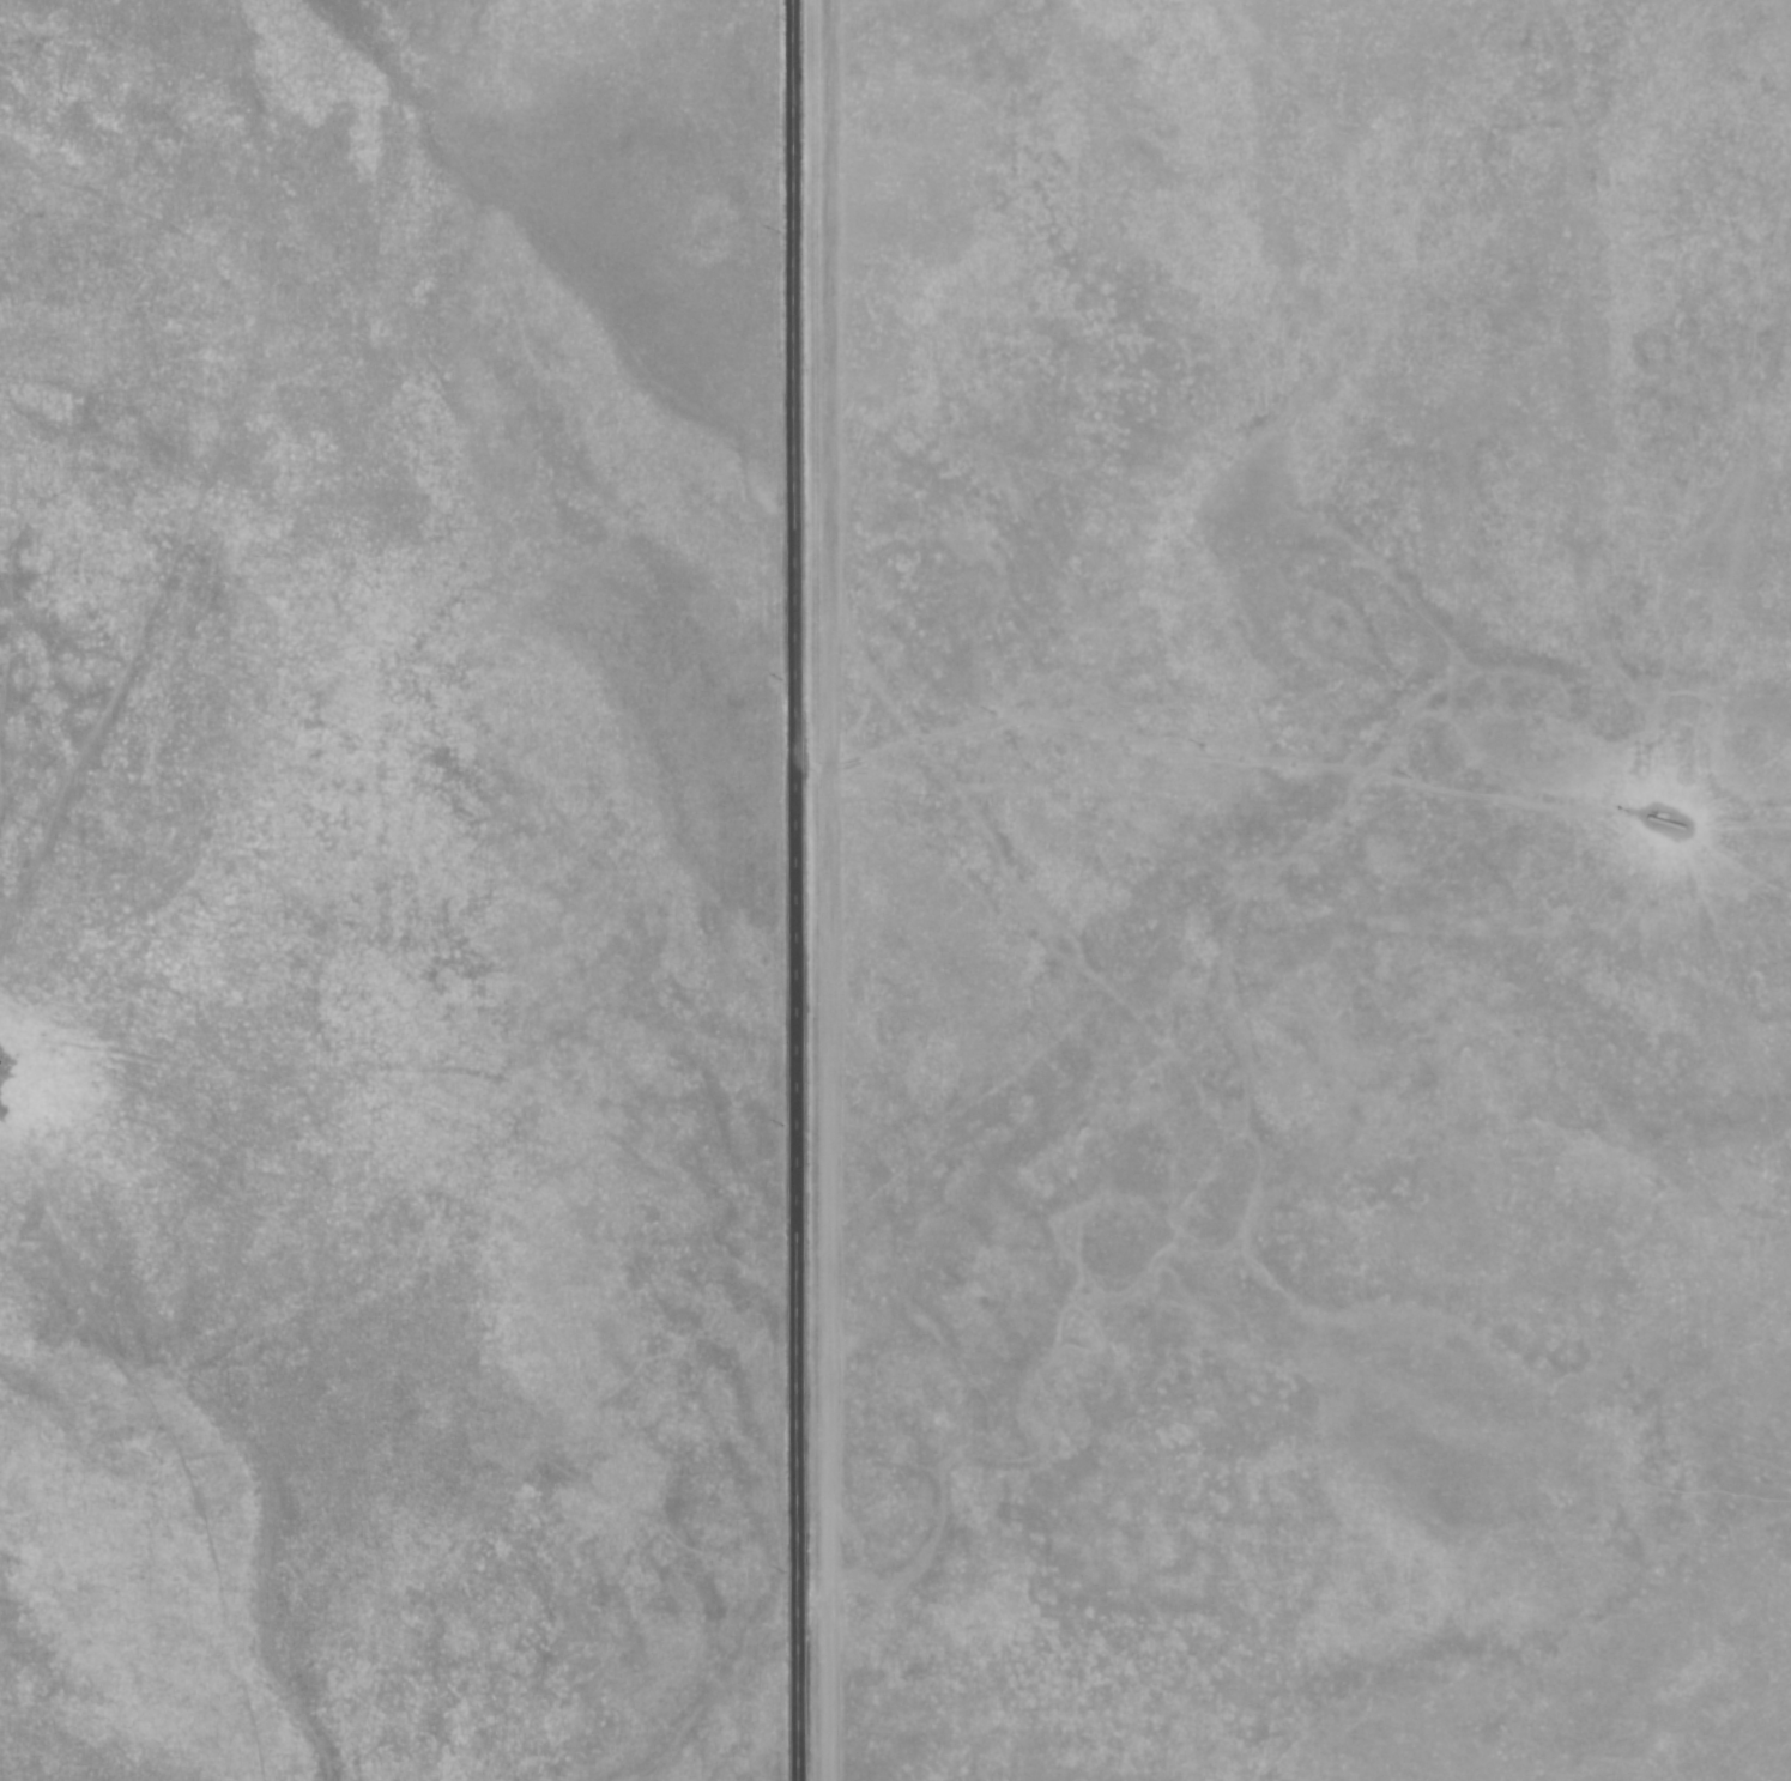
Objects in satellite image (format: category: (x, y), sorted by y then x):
road: (806, 890)

